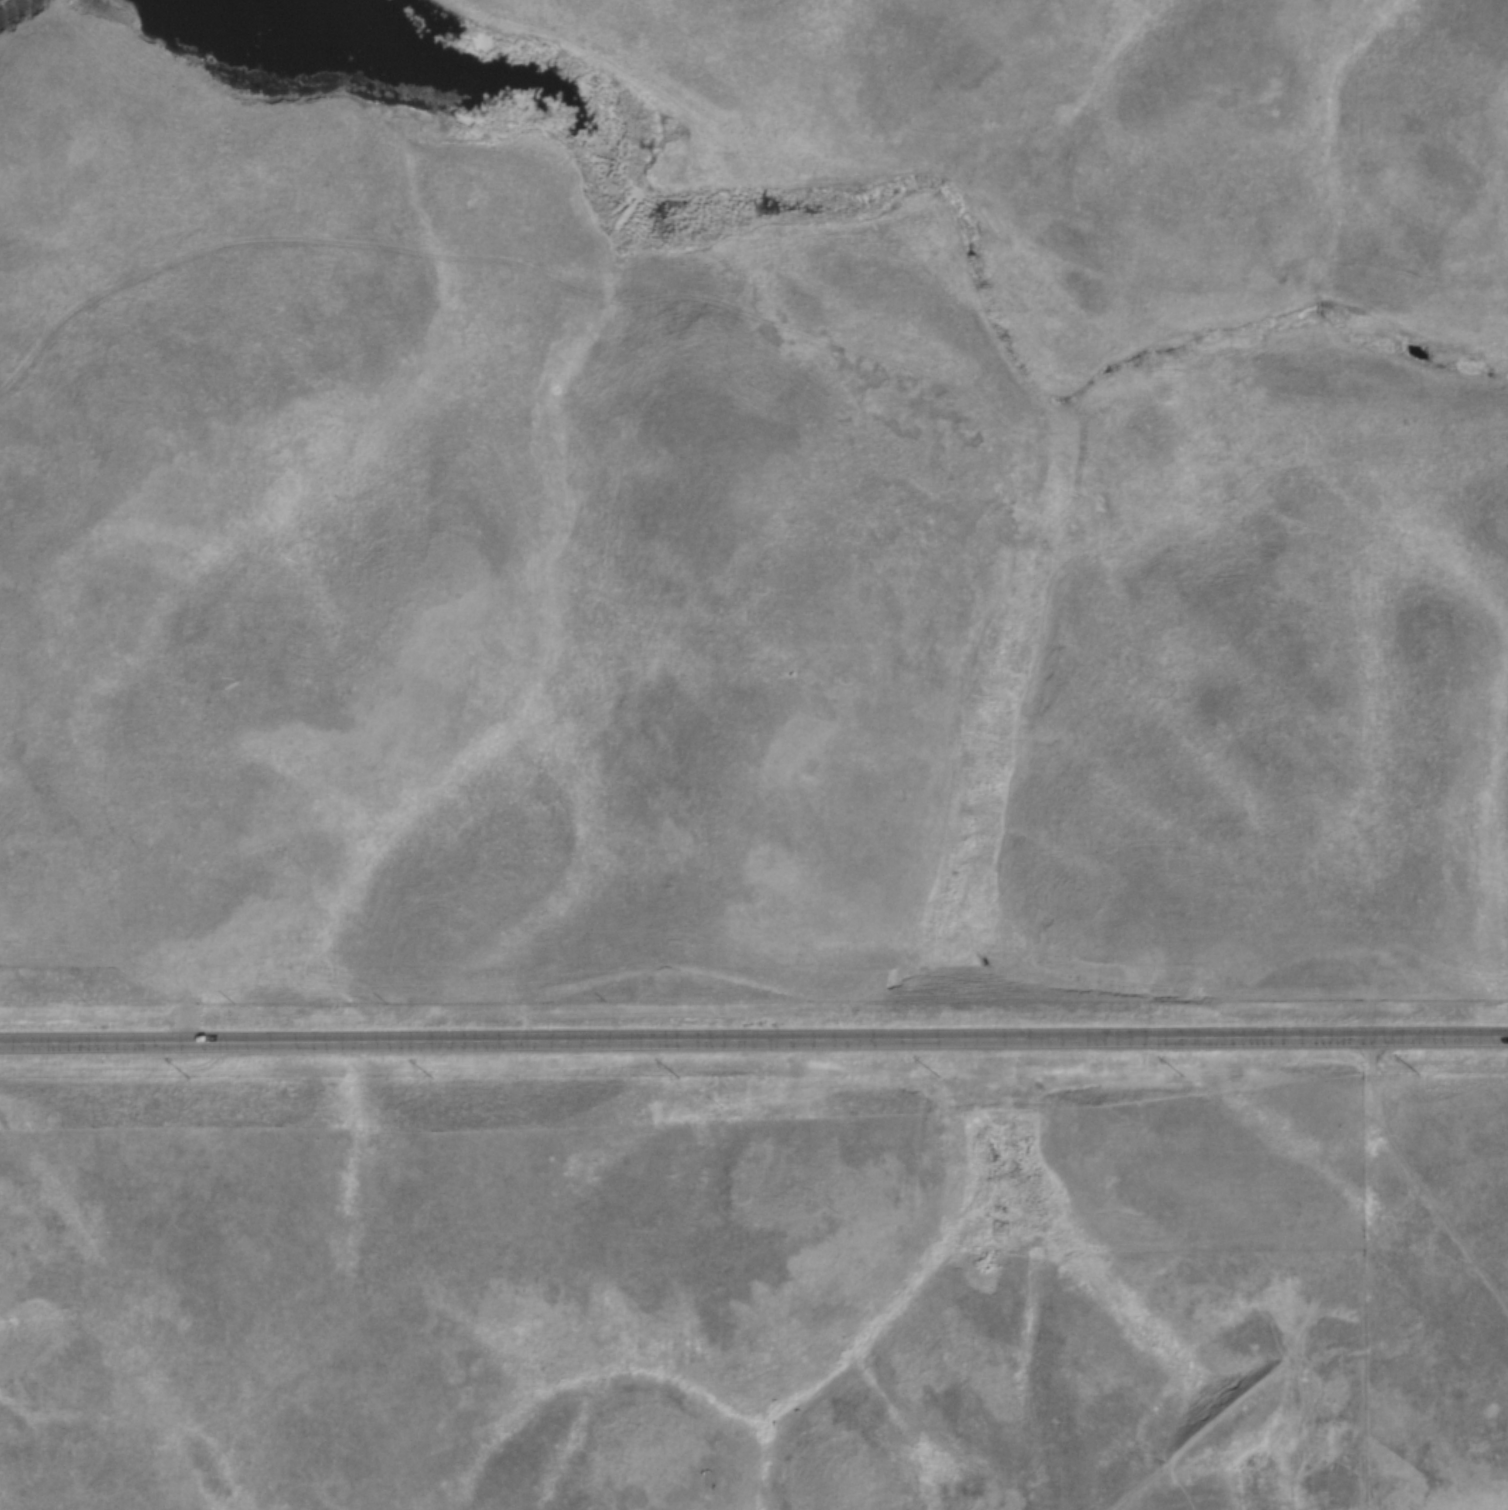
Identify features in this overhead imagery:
road: (754, 1036)

